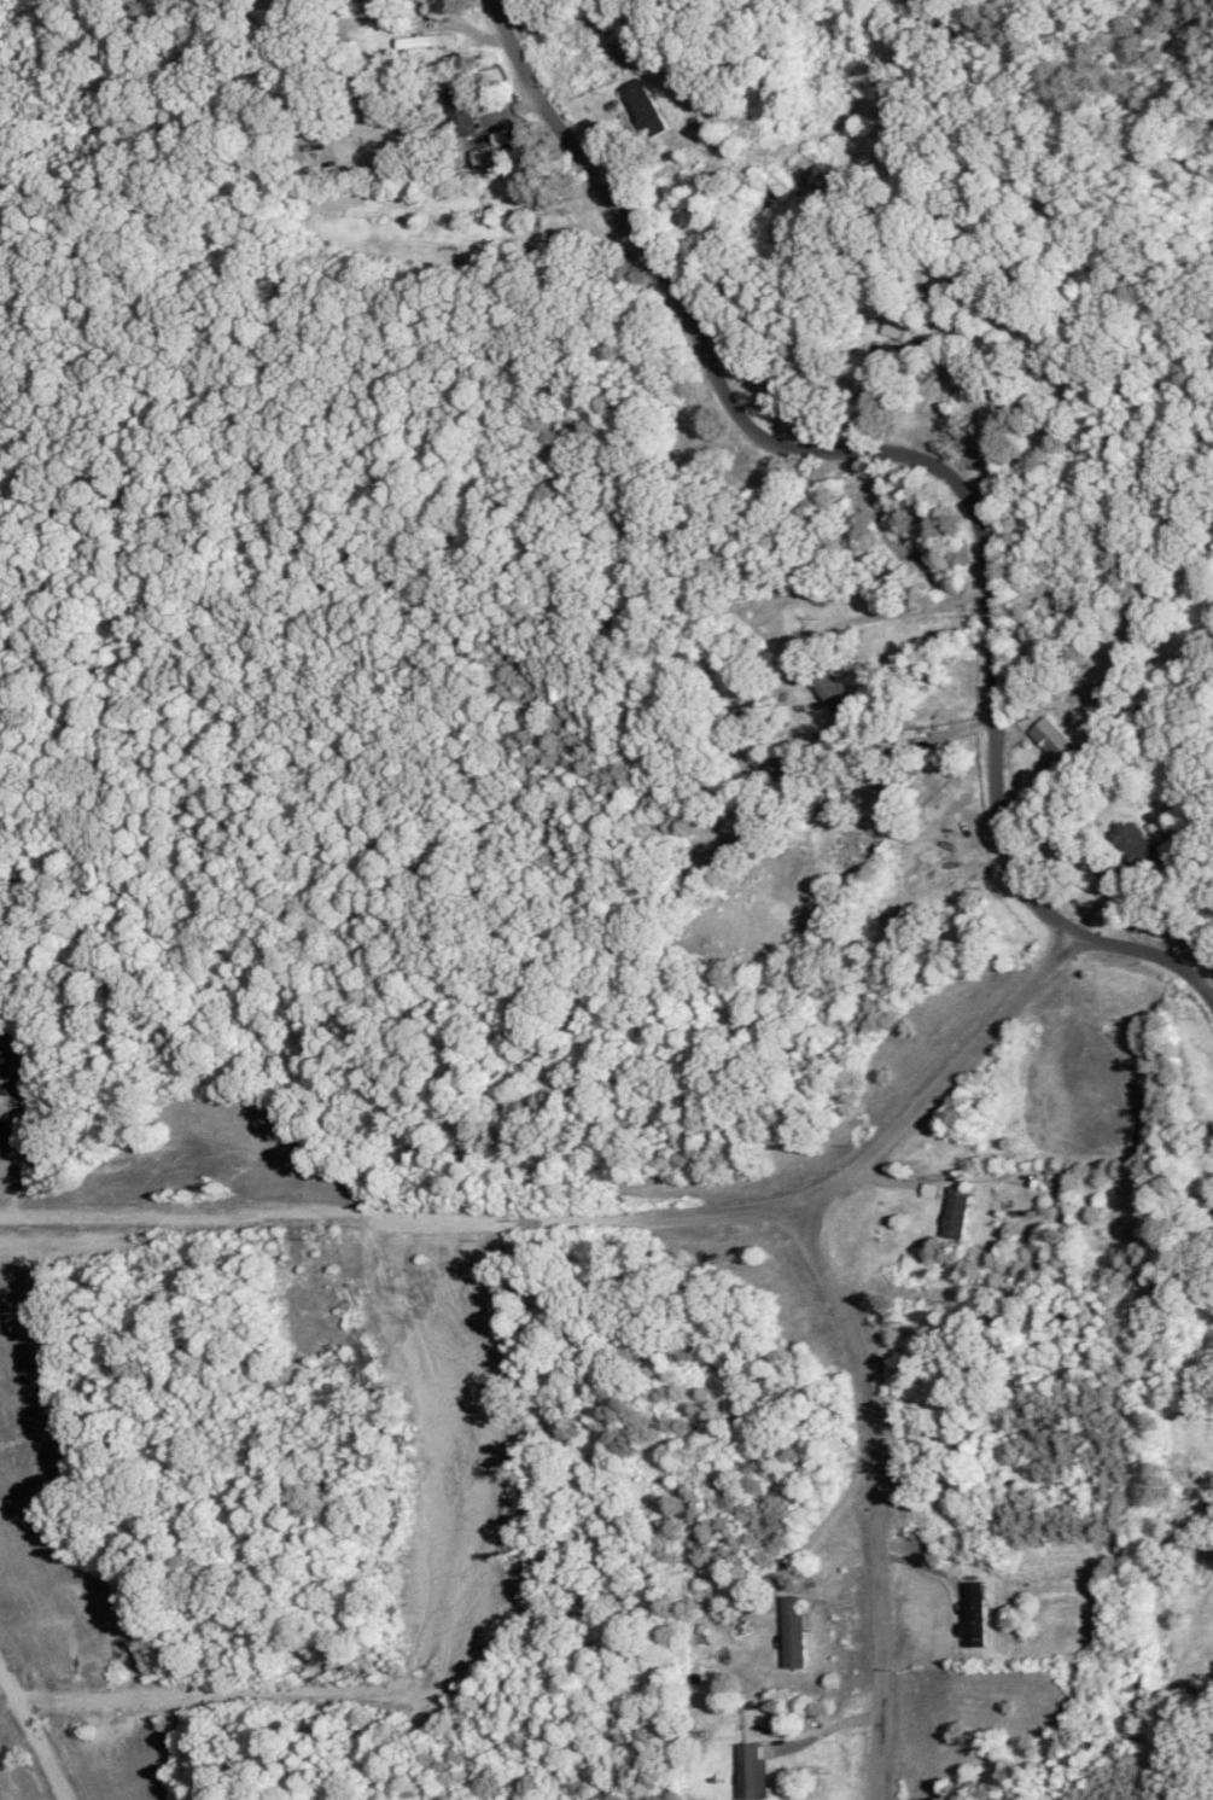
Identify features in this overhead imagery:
building: (427, 39)
building: (642, 104)
building: (460, 110)
building: (485, 153)
building: (556, 243)
building: (905, 328)
road: (927, 464)
road: (896, 611)
building: (832, 688)
building: (1054, 739)
building: (894, 788)
building: (1135, 840)
building: (1049, 1176)
building: (956, 1211)
road: (594, 1217)
road: (873, 1493)
road: (812, 1533)
building: (974, 1612)
building: (793, 1630)
road: (34, 1735)
building: (752, 1771)

